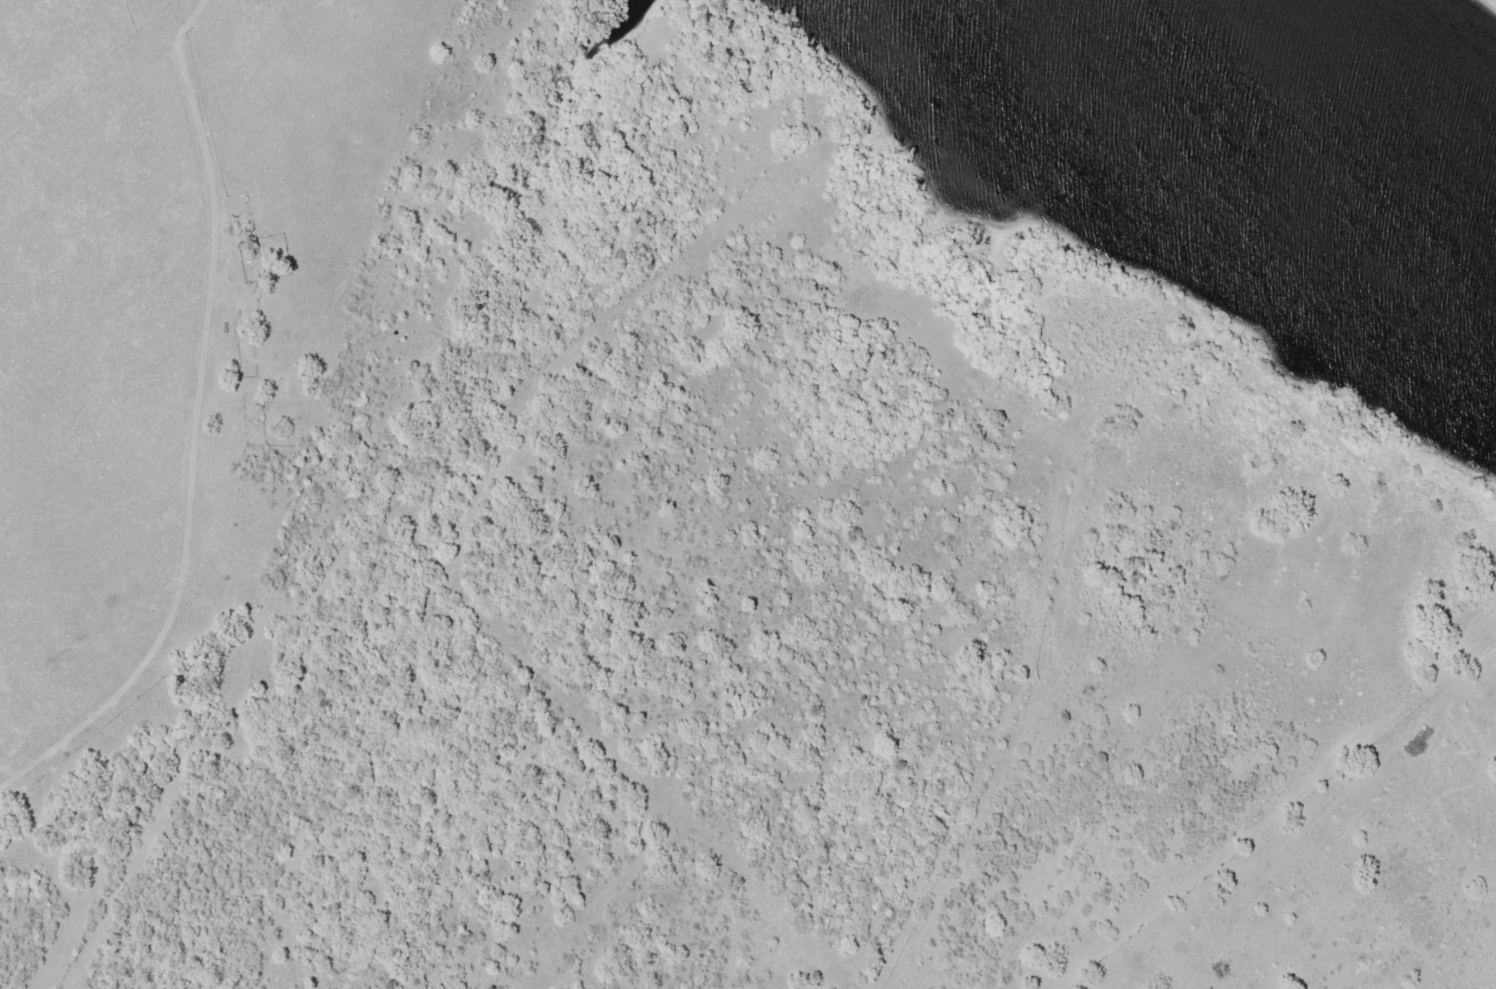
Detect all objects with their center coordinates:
river: (1262, 97)
building: (253, 237)

